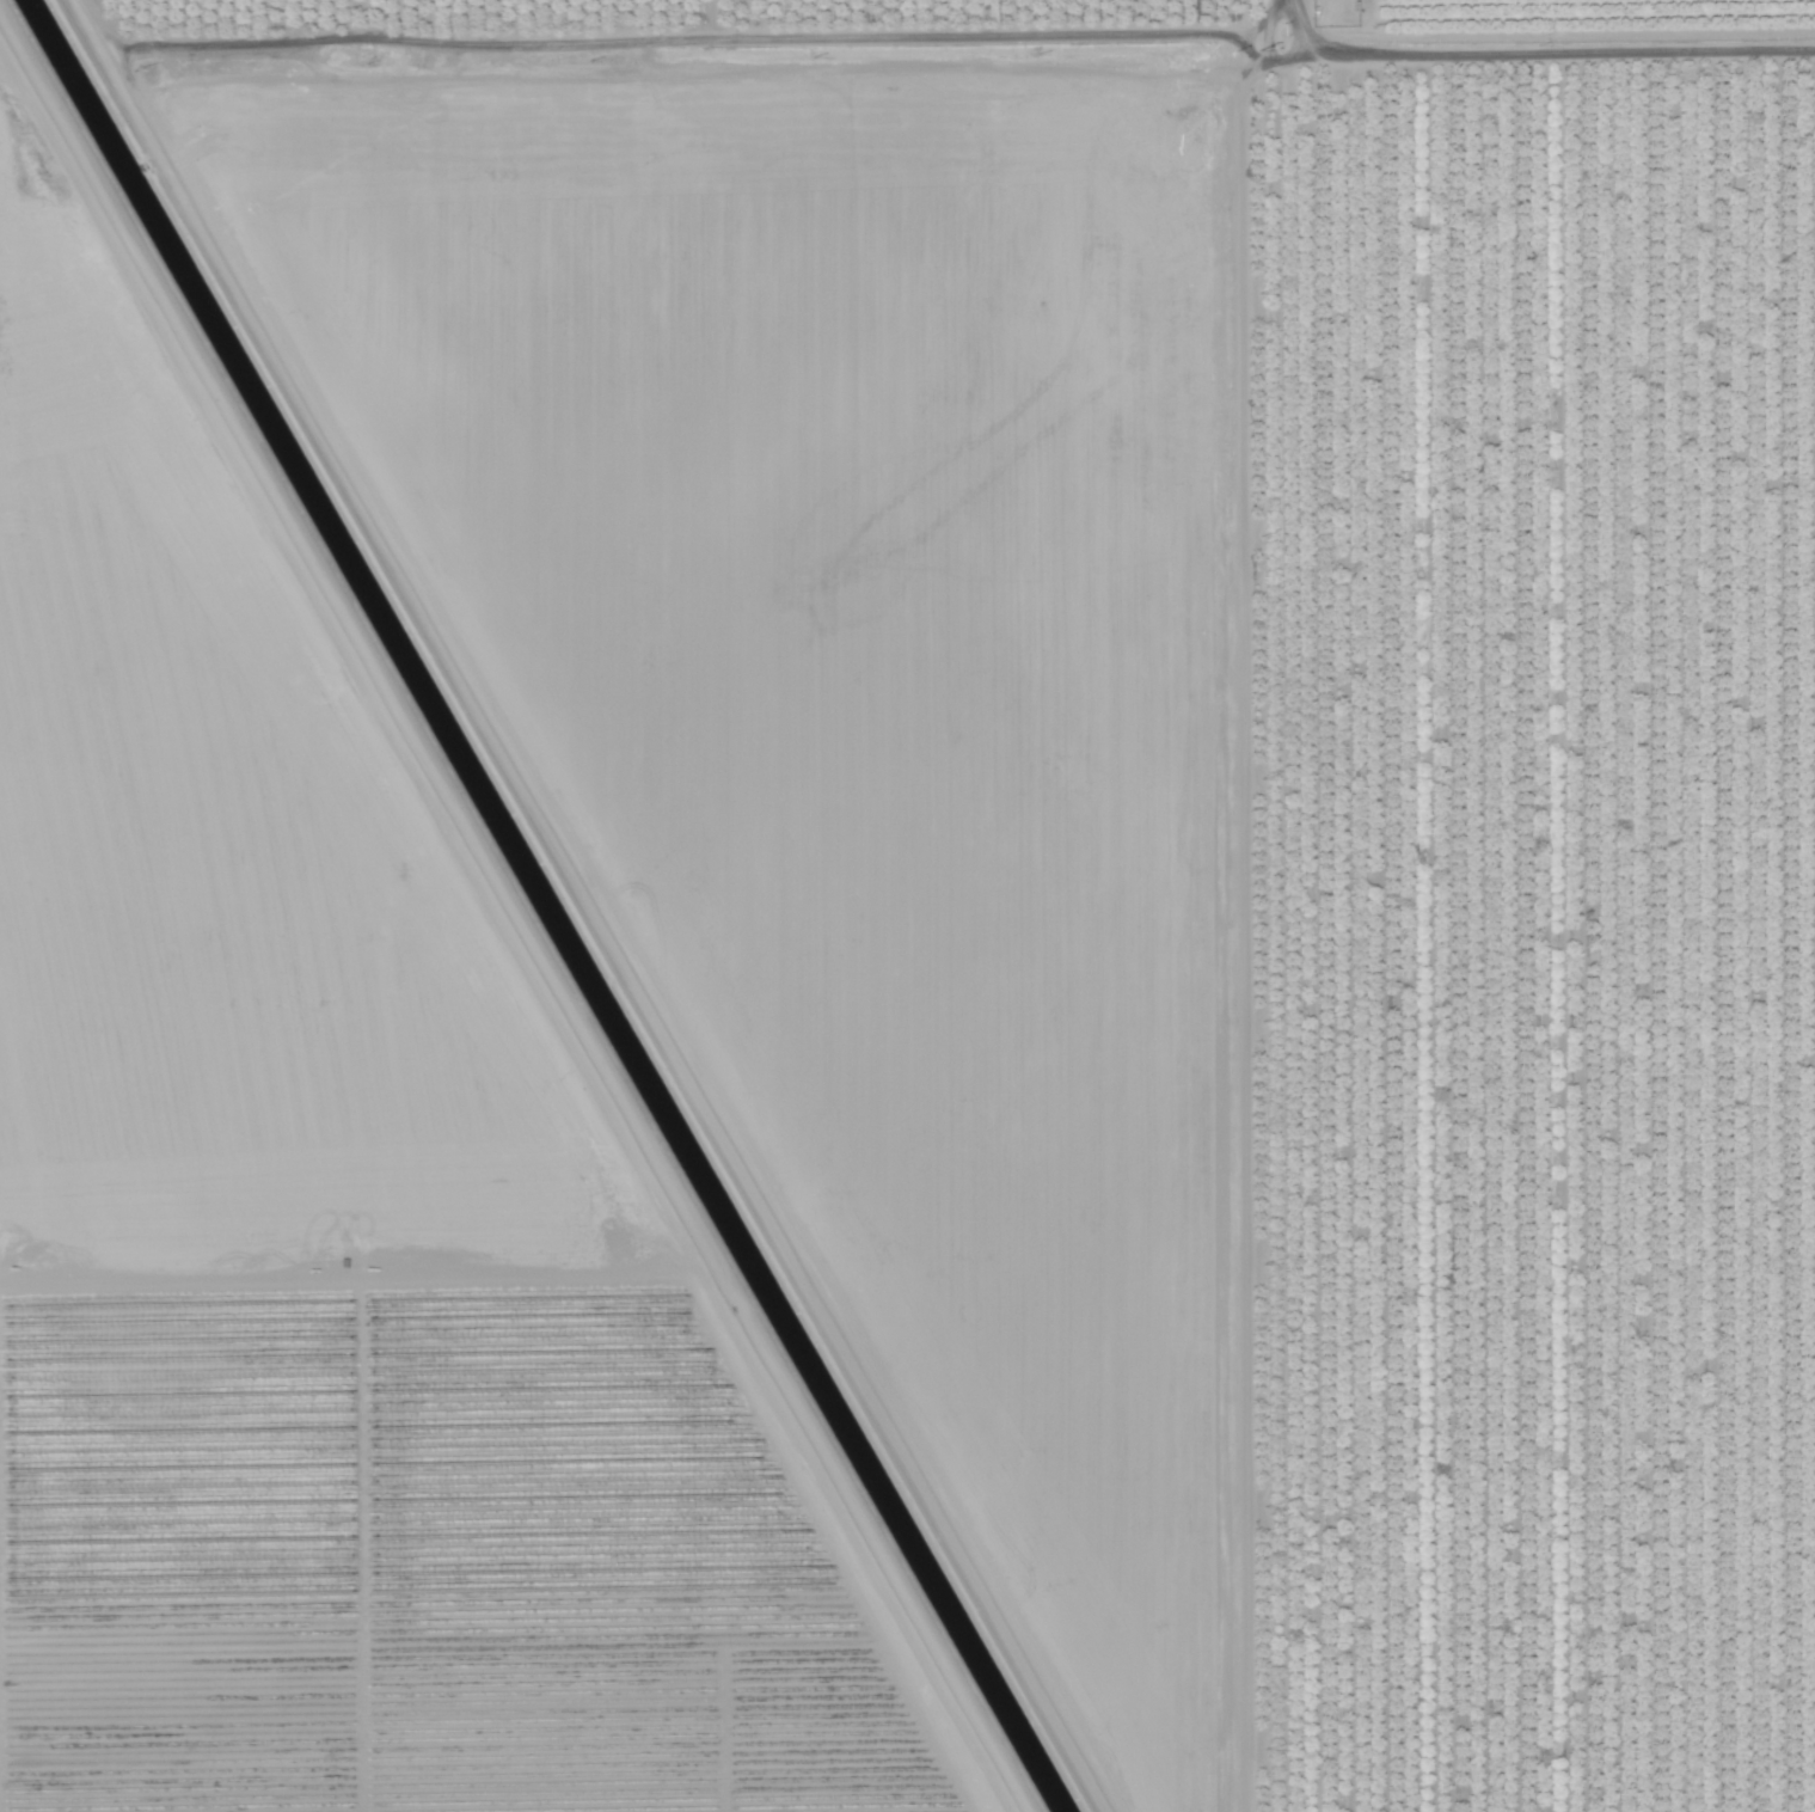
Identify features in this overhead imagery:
road: (1563, 76)
road: (721, 79)
road: (35, 108)
road: (1283, 905)

